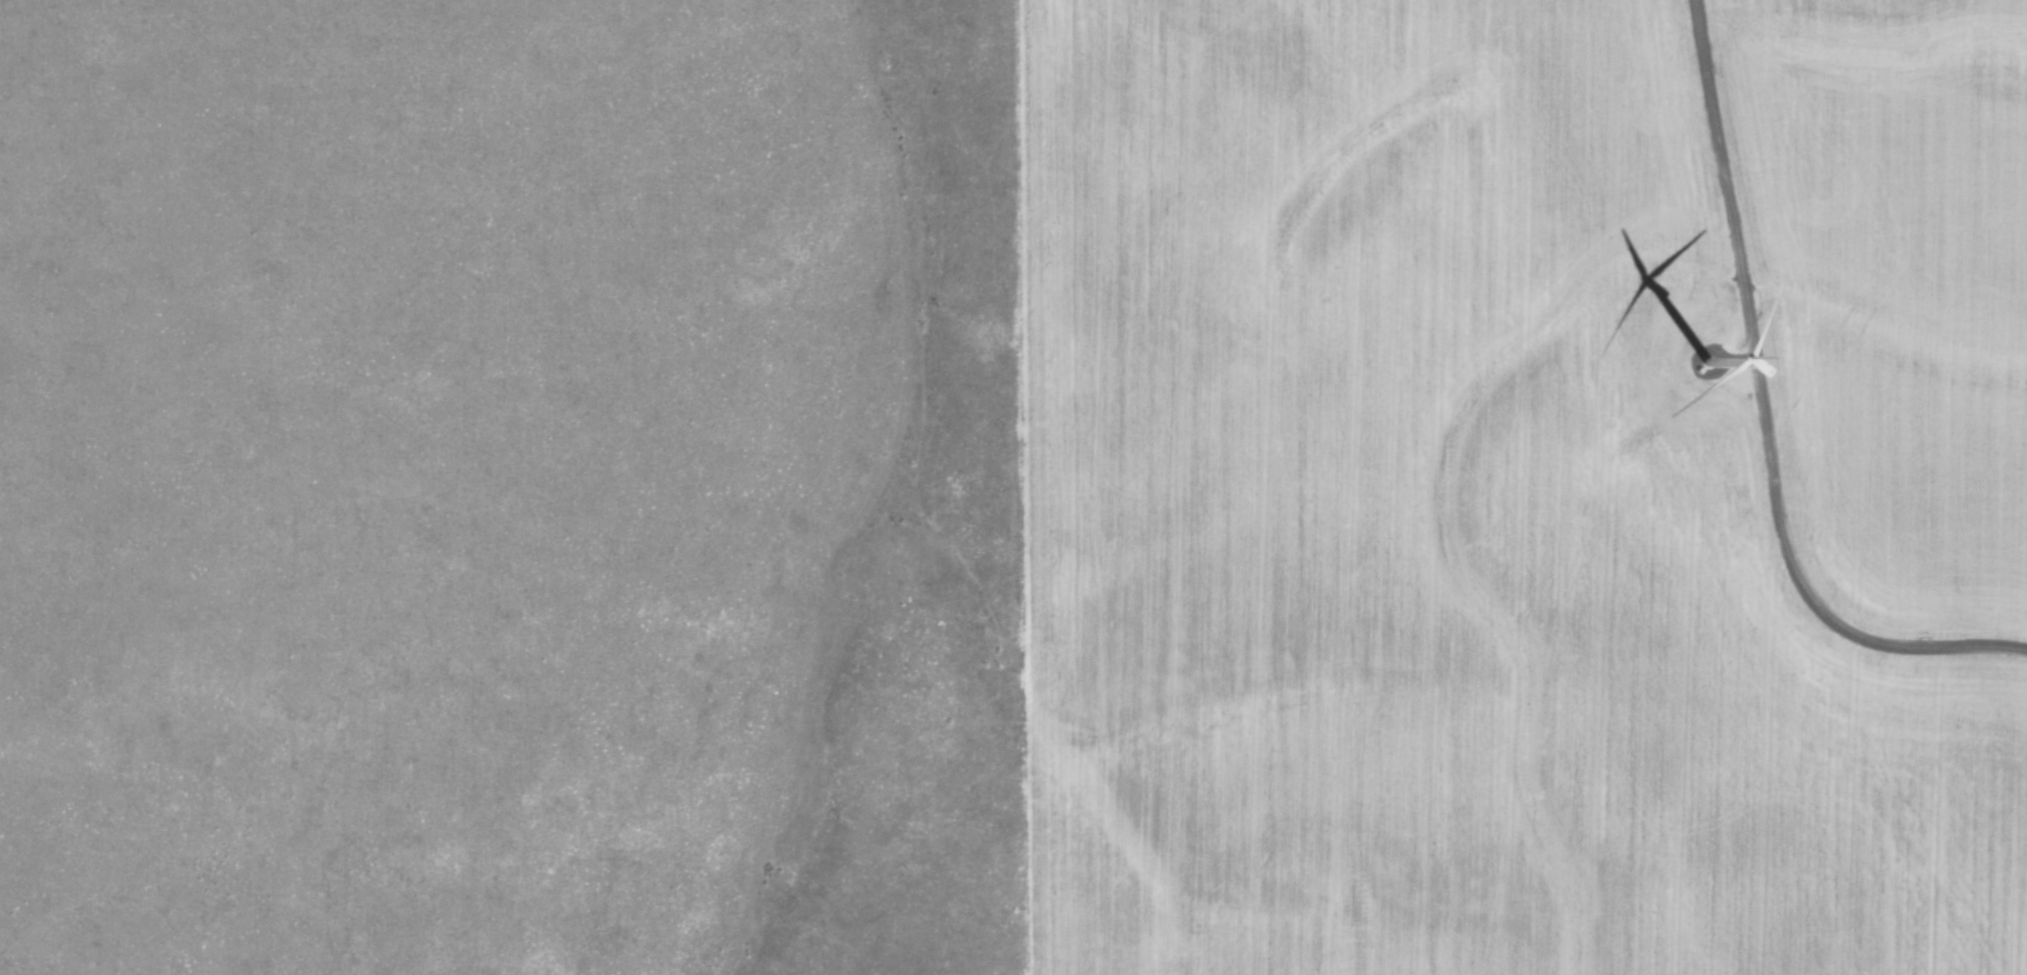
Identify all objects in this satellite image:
wind turbine: (1706, 362)
road: (1763, 413)

